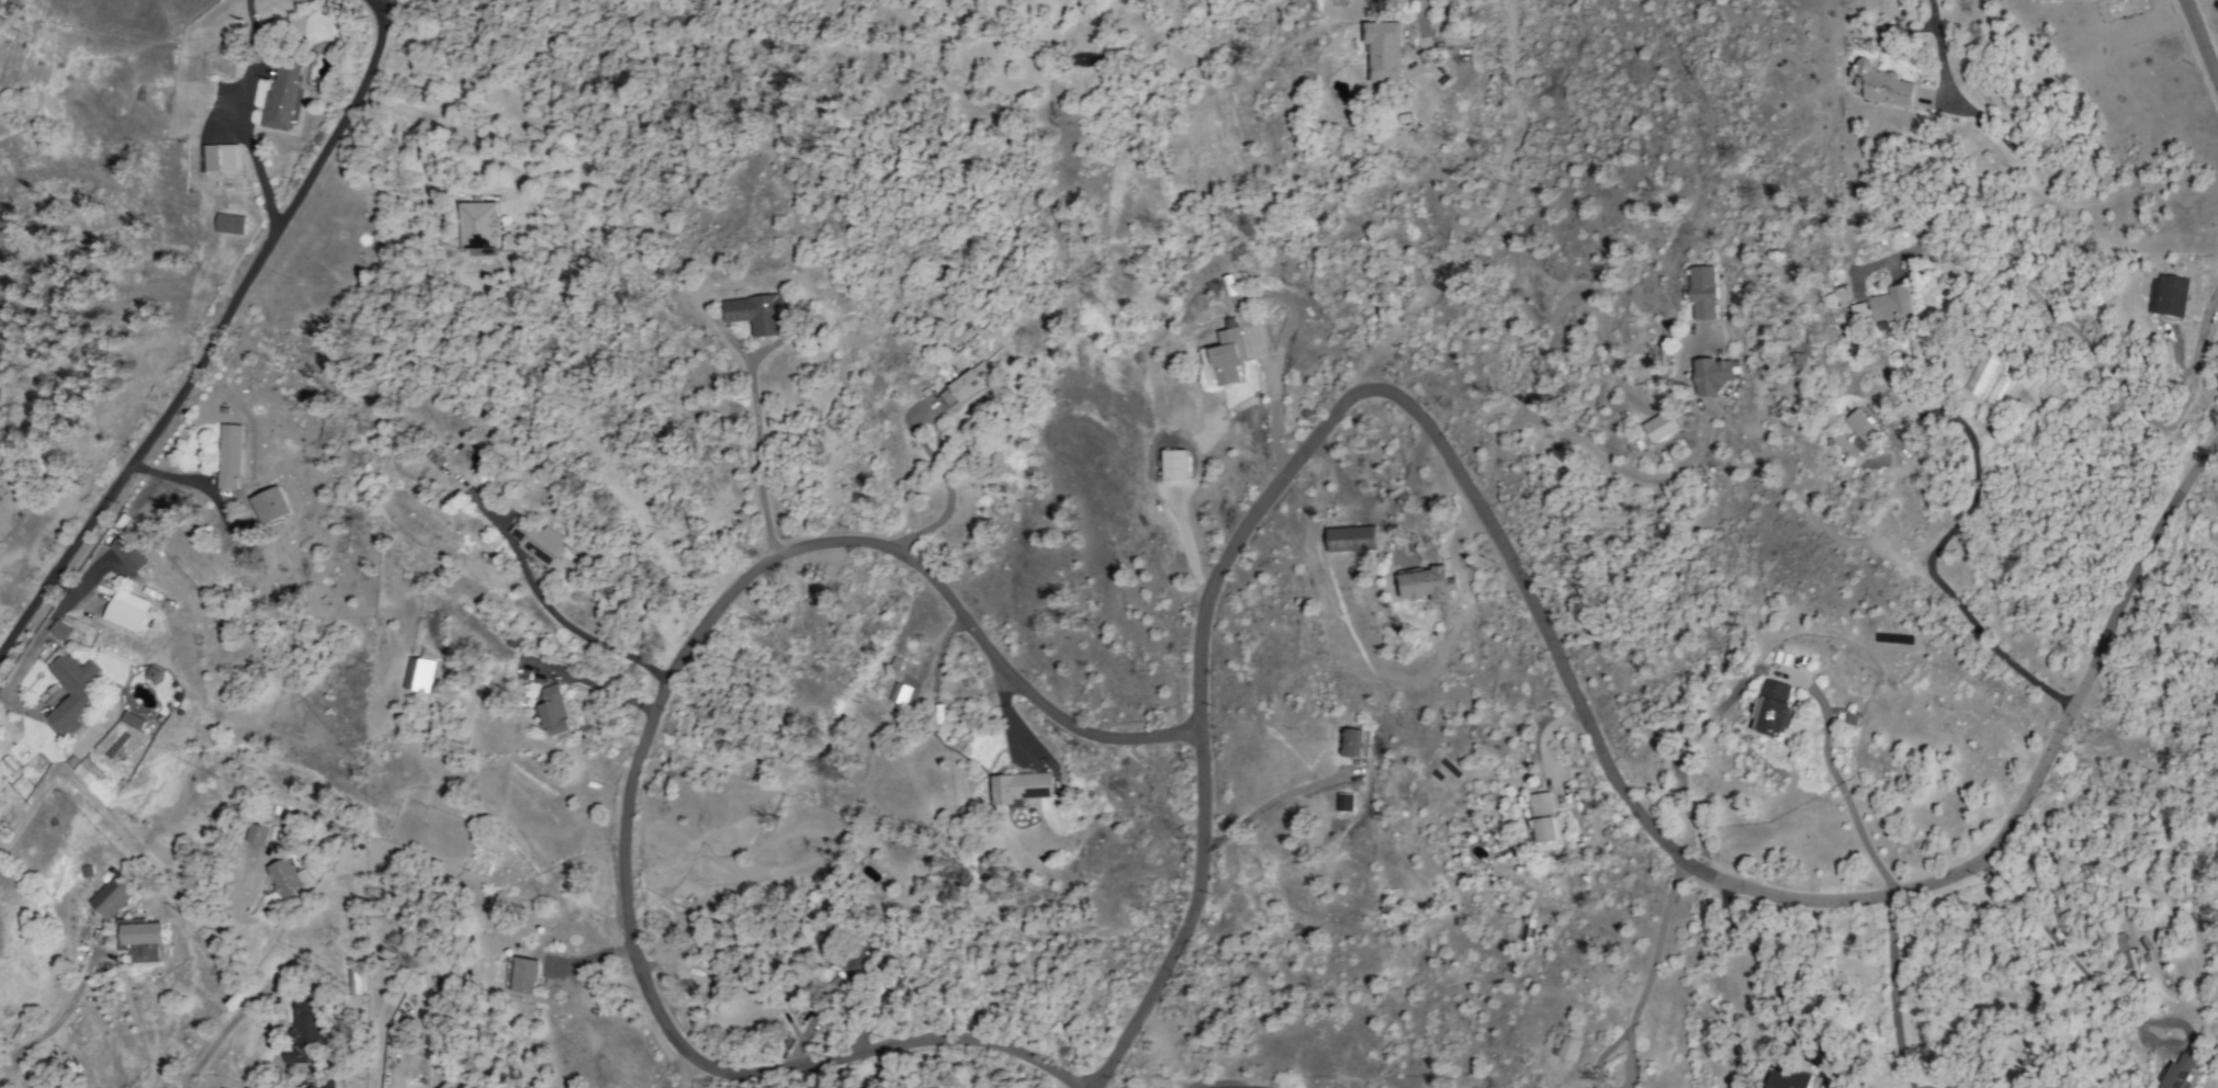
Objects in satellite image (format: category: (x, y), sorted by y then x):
road: (376, 4)
road: (1422, 27)
road: (2200, 41)
road: (1940, 48)
building: (1382, 50)
road: (2216, 72)
building: (1880, 84)
building: (280, 97)
road: (454, 128)
building: (219, 158)
road: (1490, 209)
building: (228, 224)
building: (480, 225)
building: (1701, 293)
building: (2170, 295)
road: (1572, 296)
building: (1892, 306)
building: (1856, 311)
building: (757, 313)
road: (217, 330)
road: (2075, 339)
building: (1225, 359)
building: (1980, 373)
building: (1712, 375)
building: (970, 381)
building: (946, 397)
building: (1658, 426)
building: (1861, 428)
building: (228, 456)
road: (758, 456)
building: (1173, 464)
road: (1624, 469)
road: (193, 484)
road: (945, 485)
building: (270, 506)
building: (1351, 539)
building: (537, 543)
road: (1935, 548)
building: (126, 554)
building: (1426, 583)
road: (72, 594)
building: (125, 610)
building: (59, 631)
road: (588, 638)
building: (150, 673)
building: (418, 675)
building: (70, 691)
building: (899, 693)
building: (1771, 707)
building: (554, 711)
road: (1197, 718)
building: (132, 719)
road: (37, 732)
building: (1351, 743)
road: (648, 746)
building: (85, 771)
building: (1018, 786)
road: (1838, 789)
road: (90, 802)
building: (1343, 802)
road: (1272, 803)
building: (1542, 817)
building: (255, 834)
building: (285, 877)
building: (110, 894)
road: (1783, 897)
building: (138, 939)
road: (2061, 948)
building: (859, 959)
building: (2128, 959)
road: (1761, 962)
road: (1650, 974)
building: (523, 975)
building: (838, 985)
building: (351, 988)
road: (1891, 990)
road: (65, 1011)
building: (303, 1030)
road: (218, 1035)
building: (1566, 1049)
building: (2176, 1070)
building: (1788, 1078)
building: (323, 1084)
building: (52, 1085)
road: (1905, 1087)
road: (1911, 1087)

